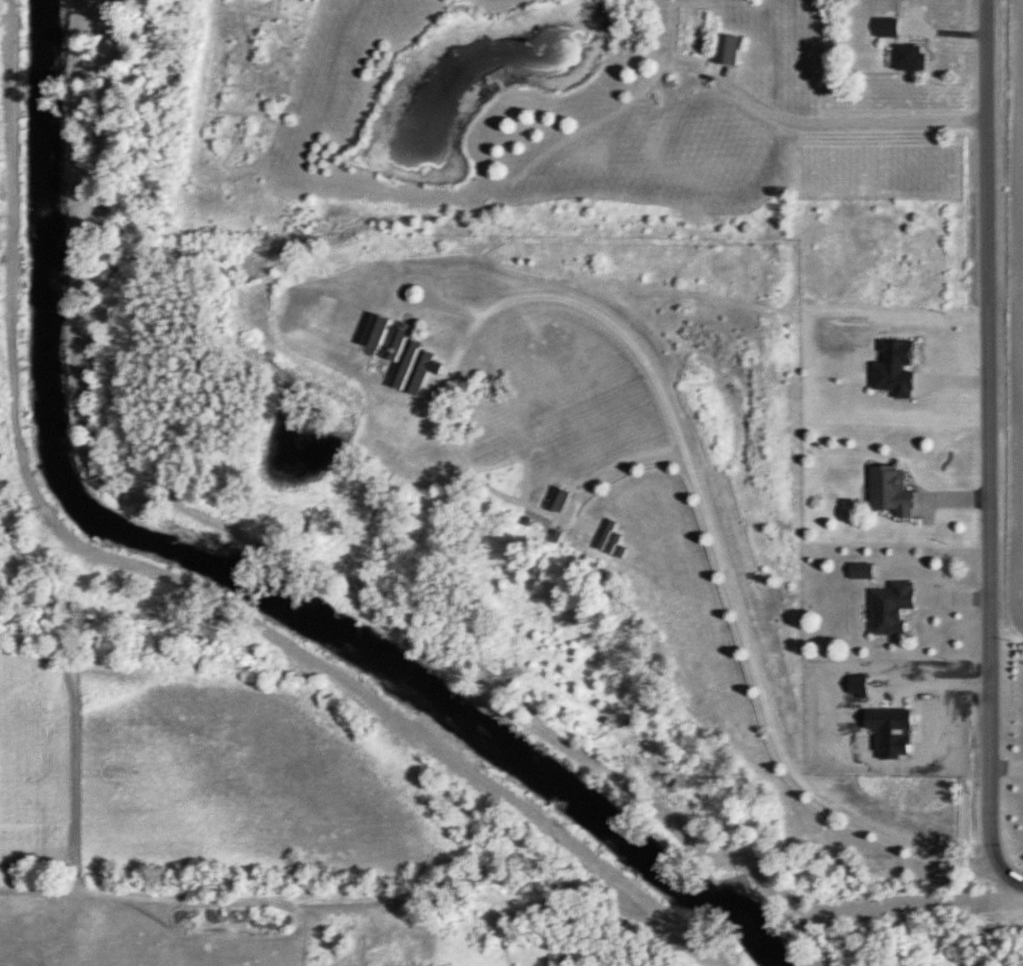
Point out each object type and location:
building: (884, 27)
building: (724, 50)
building: (908, 56)
building: (375, 333)
road: (985, 452)
road: (603, 465)
building: (887, 490)
building: (608, 541)
road: (706, 559)
building: (888, 608)

